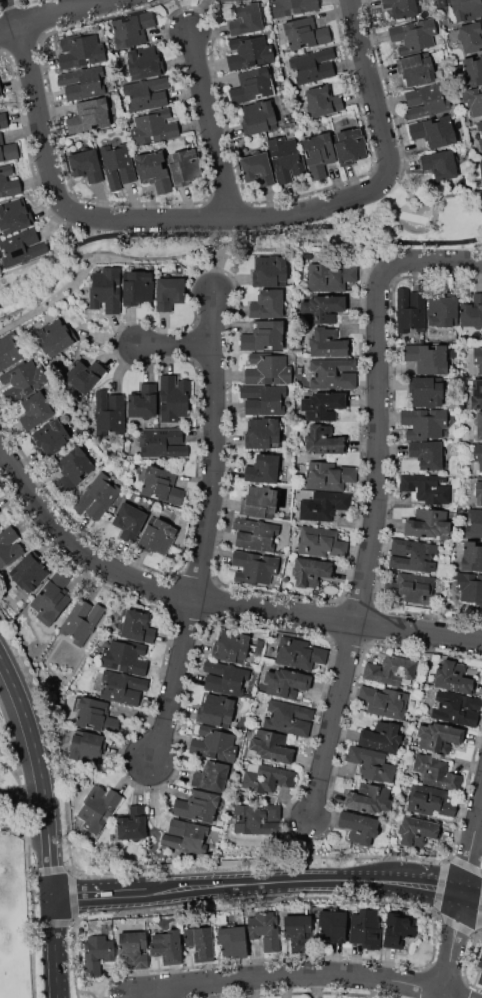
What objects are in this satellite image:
building: (223, 0)
building: (293, 7)
building: (402, 7)
building: (466, 9)
road: (13, 14)
road: (55, 17)
road: (182, 17)
building: (247, 20)
building: (132, 29)
building: (306, 34)
building: (414, 35)
building: (471, 36)
building: (80, 51)
building: (250, 52)
building: (144, 62)
building: (313, 65)
building: (417, 68)
building: (473, 71)
building: (83, 82)
road: (372, 84)
building: (252, 85)
building: (0, 90)
building: (147, 94)
building: (473, 100)
building: (323, 101)
building: (426, 102)
building: (90, 115)
building: (258, 117)
building: (4, 120)
road: (211, 125)
building: (479, 125)
building: (154, 127)
building: (434, 131)
building: (480, 142)
building: (351, 146)
building: (8, 150)
building: (319, 155)
building: (286, 158)
building: (440, 163)
building: (86, 165)
building: (118, 165)
building: (183, 167)
building: (481, 168)
building: (257, 169)
building: (153, 170)
building: (9, 182)
building: (14, 216)
road: (143, 220)
road: (273, 243)
building: (22, 247)
road: (223, 254)
road: (63, 257)
road: (439, 263)
building: (269, 271)
building: (329, 277)
building: (138, 288)
building: (106, 289)
building: (169, 292)
building: (267, 304)
building: (322, 308)
building: (410, 309)
building: (443, 311)
building: (472, 312)
building: (264, 336)
building: (55, 337)
building: (328, 342)
road: (180, 349)
building: (9, 352)
building: (478, 357)
building: (427, 358)
building: (269, 369)
building: (333, 373)
building: (85, 375)
building: (24, 381)
building: (427, 392)
building: (476, 393)
building: (174, 399)
building: (263, 399)
building: (143, 401)
building: (323, 405)
building: (36, 410)
building: (109, 413)
building: (424, 423)
building: (479, 425)
building: (263, 434)
building: (53, 436)
building: (324, 440)
road: (380, 442)
building: (162, 443)
road: (216, 450)
building: (427, 454)
building: (478, 455)
building: (73, 468)
building: (265, 469)
building: (329, 476)
building: (162, 485)
building: (426, 487)
building: (478, 493)
building: (97, 496)
building: (259, 502)
building: (323, 505)
building: (129, 521)
building: (428, 523)
building: (474, 523)
building: (255, 534)
building: (158, 537)
building: (321, 541)
building: (9, 545)
building: (412, 555)
building: (471, 555)
building: (254, 567)
building: (311, 571)
building: (26, 574)
building: (469, 586)
building: (412, 587)
building: (50, 599)
road: (210, 607)
building: (81, 620)
building: (137, 626)
building: (231, 646)
building: (299, 652)
building: (125, 656)
building: (391, 669)
building: (224, 677)
building: (454, 677)
building: (286, 682)
road: (175, 683)
building: (123, 688)
building: (384, 701)
building: (457, 708)
building: (217, 710)
building: (94, 714)
building: (287, 717)
road: (335, 722)
building: (439, 736)
building: (382, 737)
building: (214, 744)
building: (270, 746)
building: (87, 747)
building: (371, 764)
building: (435, 772)
building: (211, 776)
building: (265, 777)
road: (39, 779)
road: (21, 793)
building: (369, 799)
building: (430, 801)
building: (197, 805)
building: (99, 807)
building: (257, 819)
road: (23, 820)
building: (132, 823)
building: (359, 827)
building: (420, 833)
building: (185, 836)
road: (311, 850)
road: (304, 881)
road: (473, 895)
road: (99, 896)
road: (462, 907)
park: (17, 908)
building: (332, 925)
building: (265, 929)
building: (365, 929)
building: (398, 930)
building: (298, 932)
building: (234, 941)
building: (200, 942)
building: (167, 946)
road: (59, 948)
building: (135, 949)
building: (97, 953)
building: (479, 962)
road: (303, 974)
building: (480, 980)
road: (151, 997)

